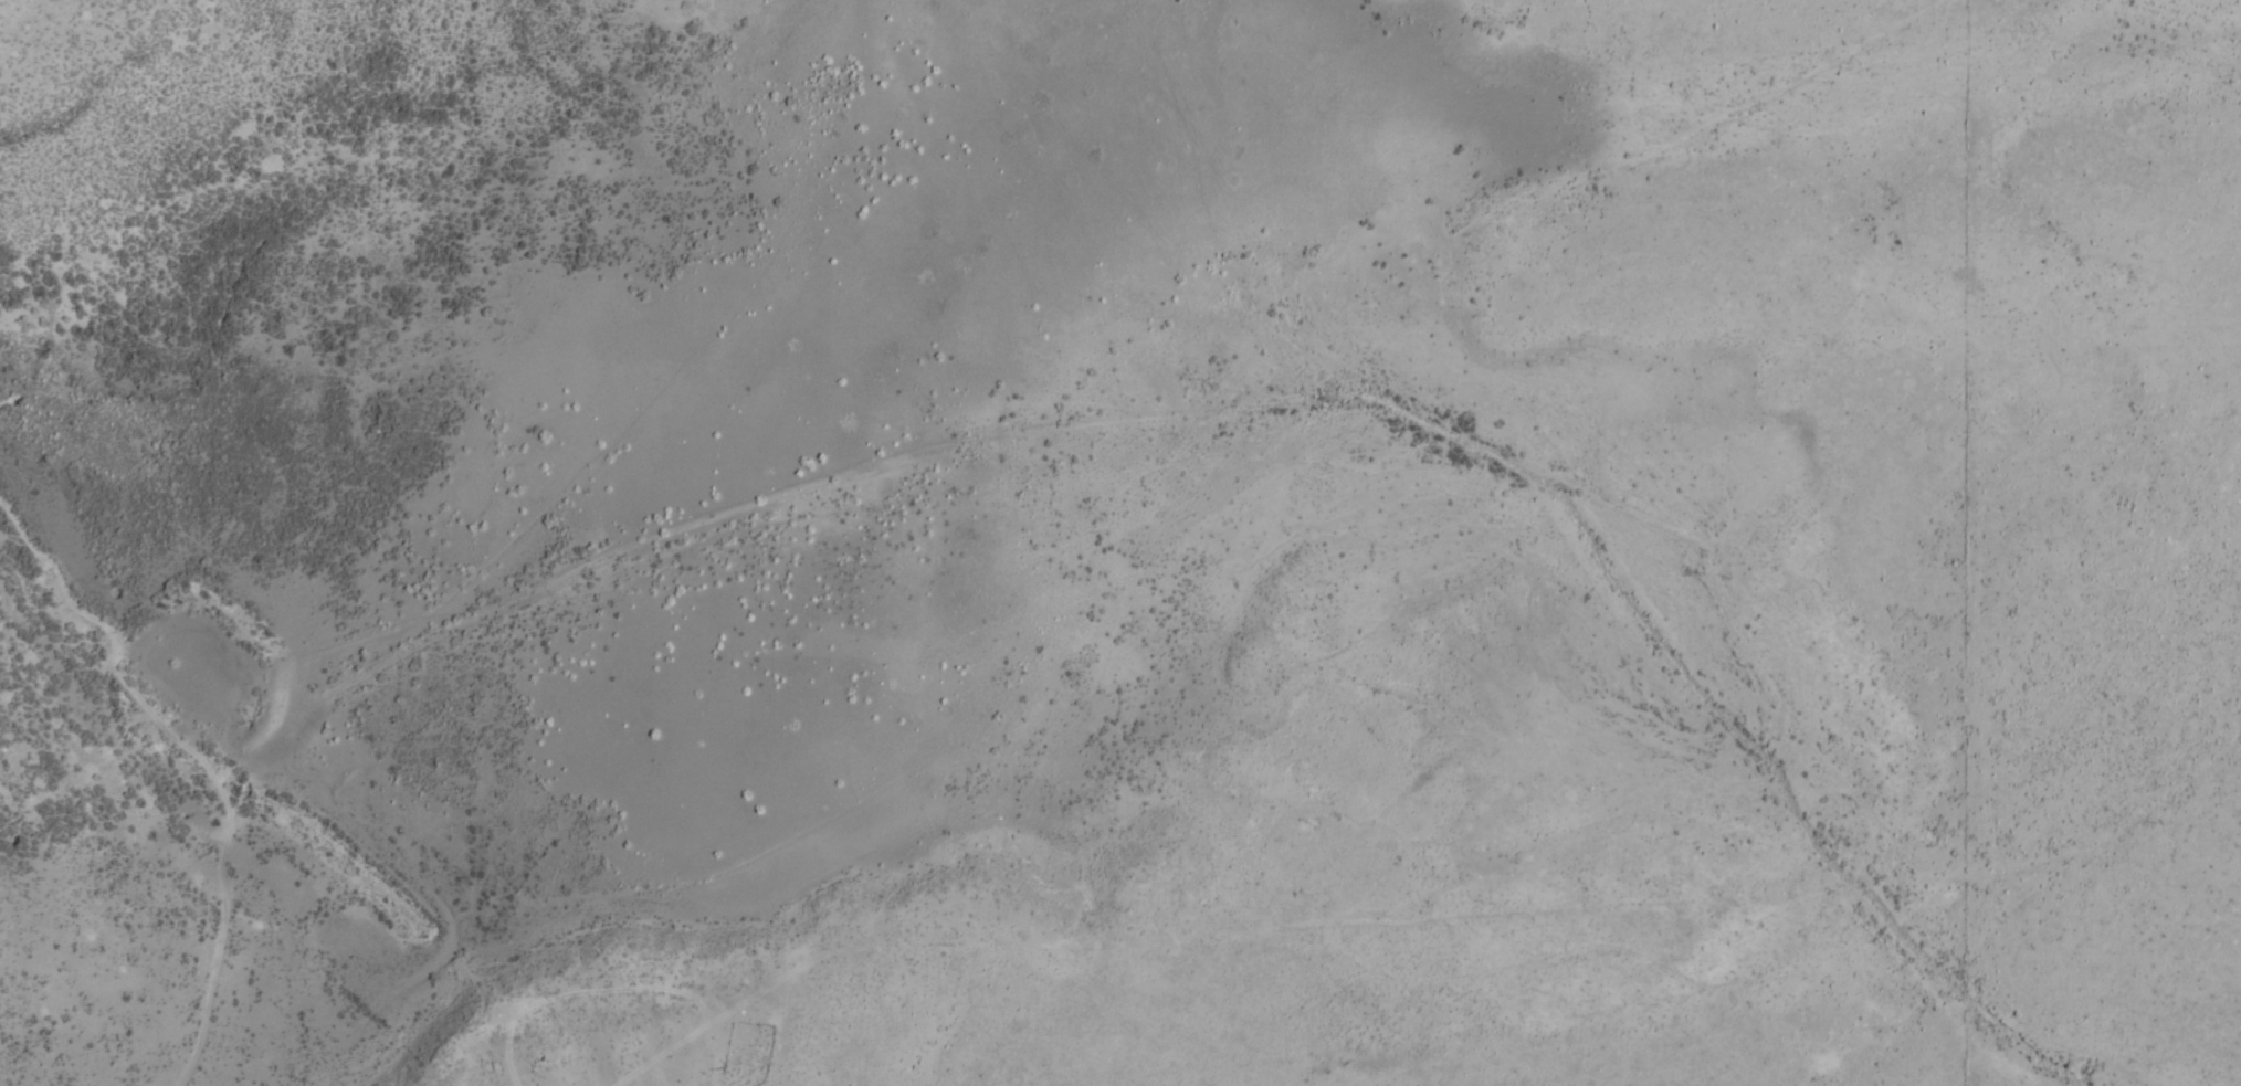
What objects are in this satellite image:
river: (304, 455)
road: (203, 760)
road: (589, 991)
road: (725, 1009)

